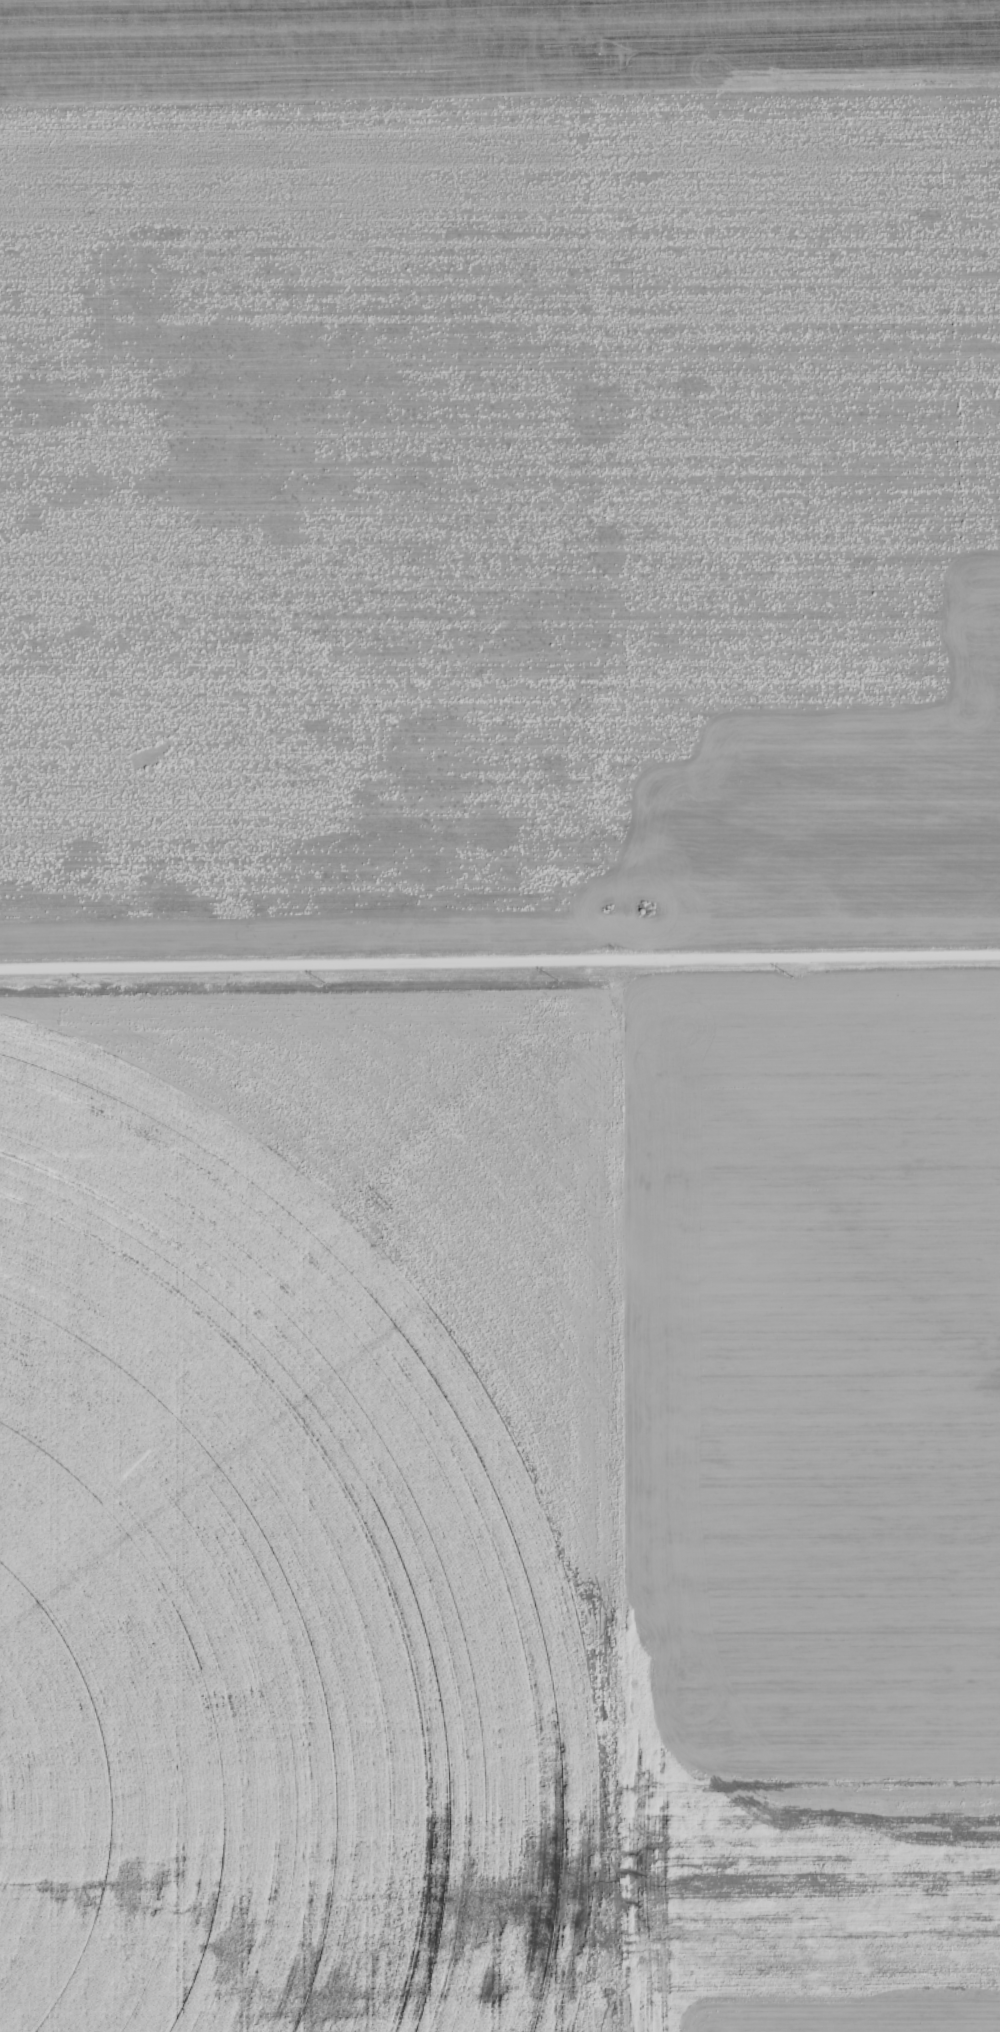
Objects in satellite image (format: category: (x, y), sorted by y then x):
road: (499, 958)
road: (606, 1494)

